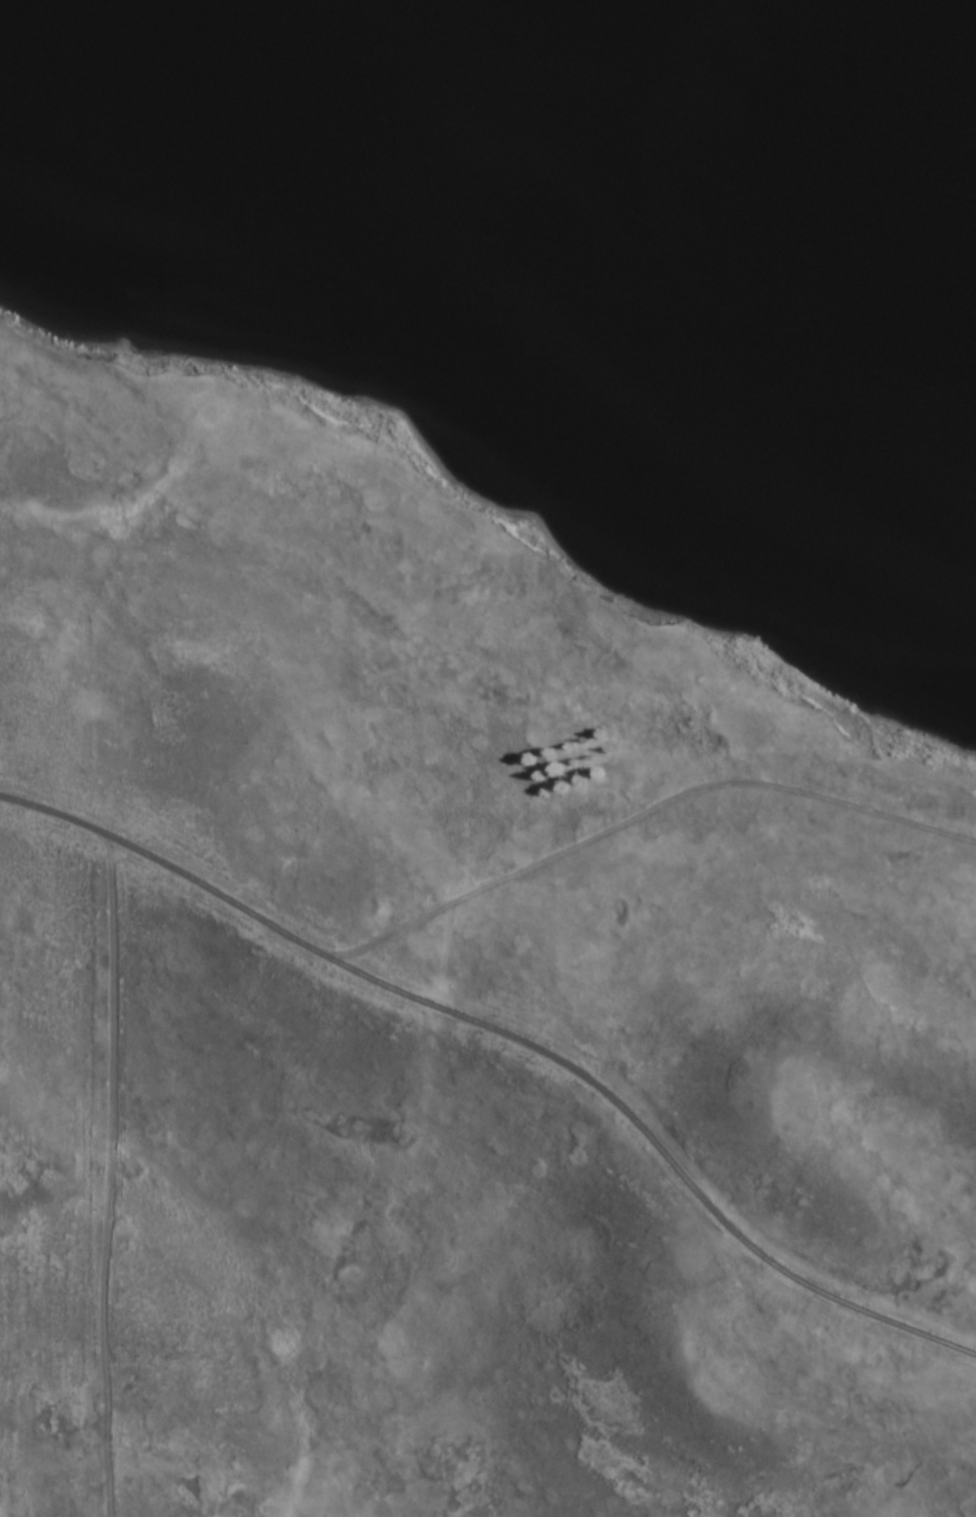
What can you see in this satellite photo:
road: (650, 808)
road: (519, 1027)

